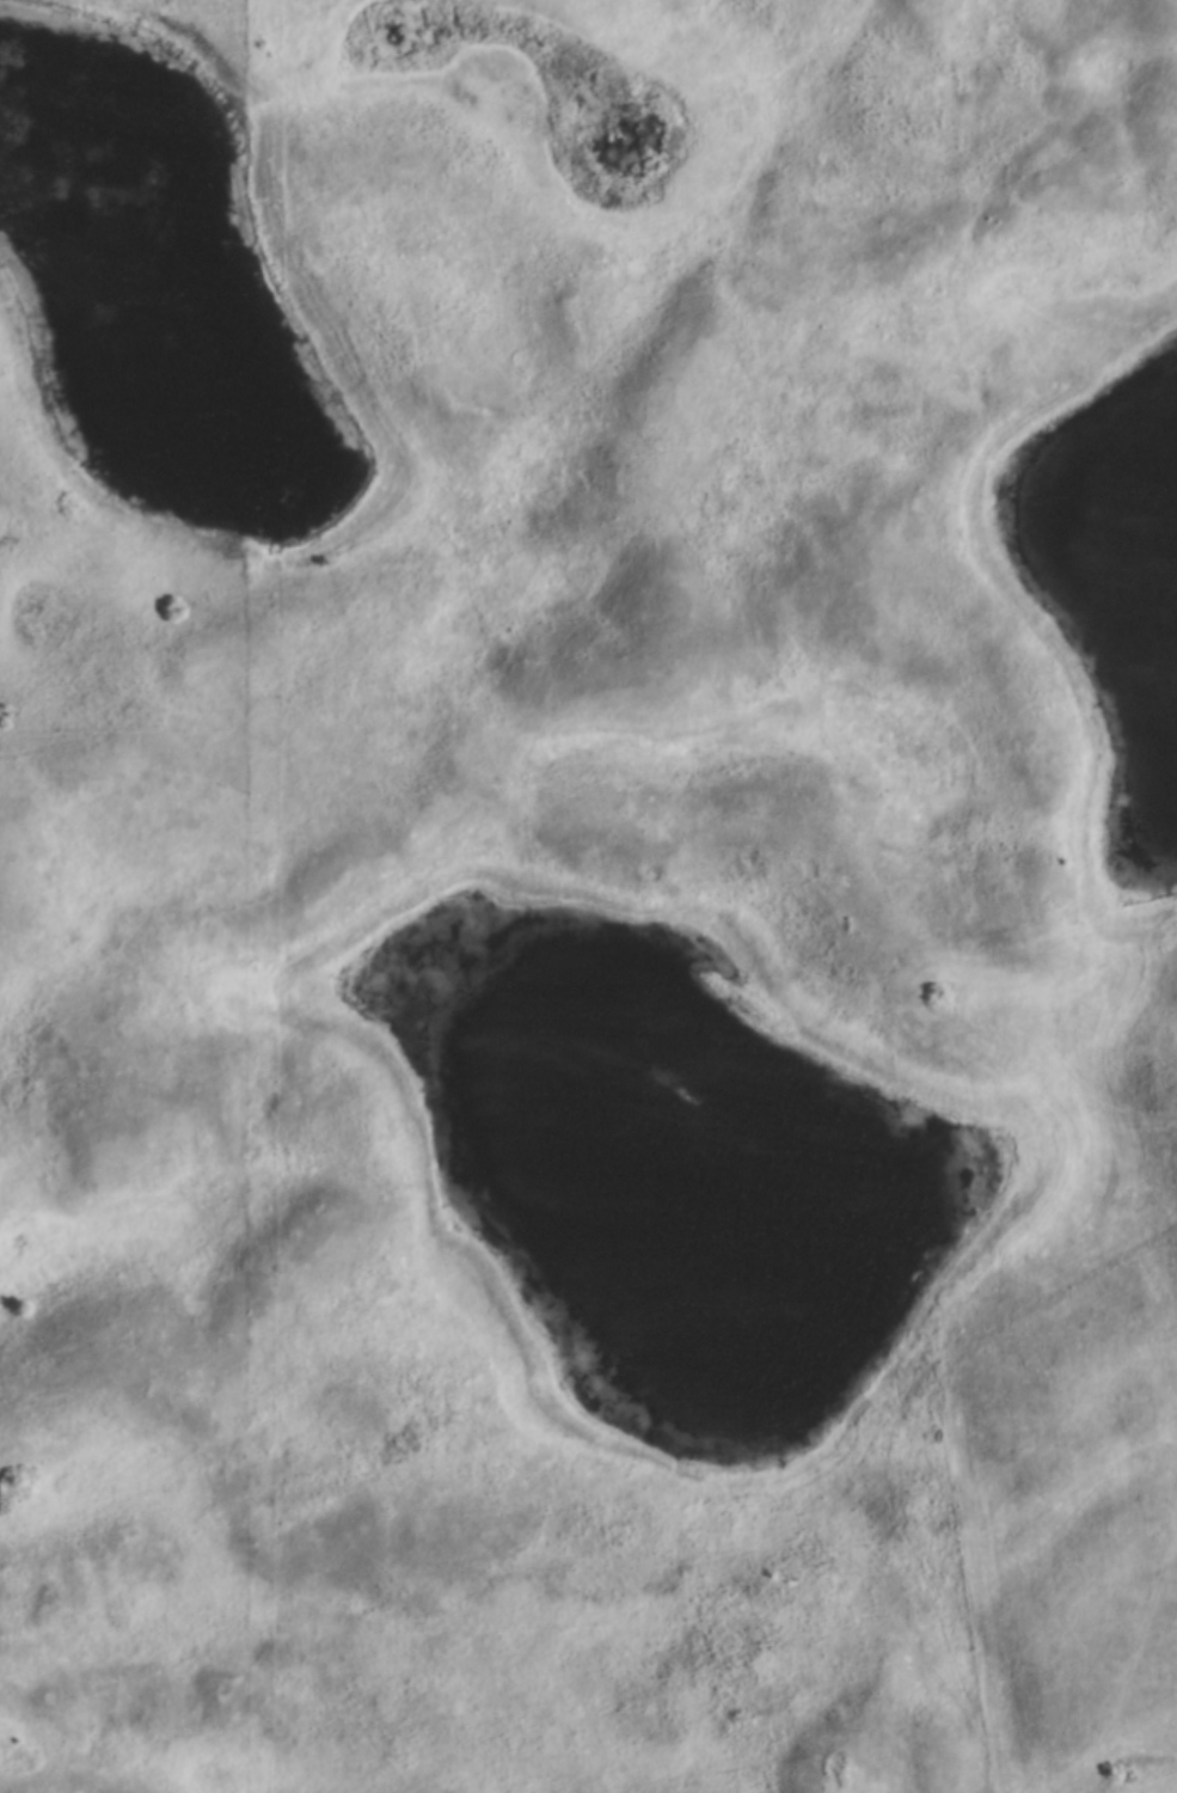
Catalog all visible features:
road: (1166, 1788)

